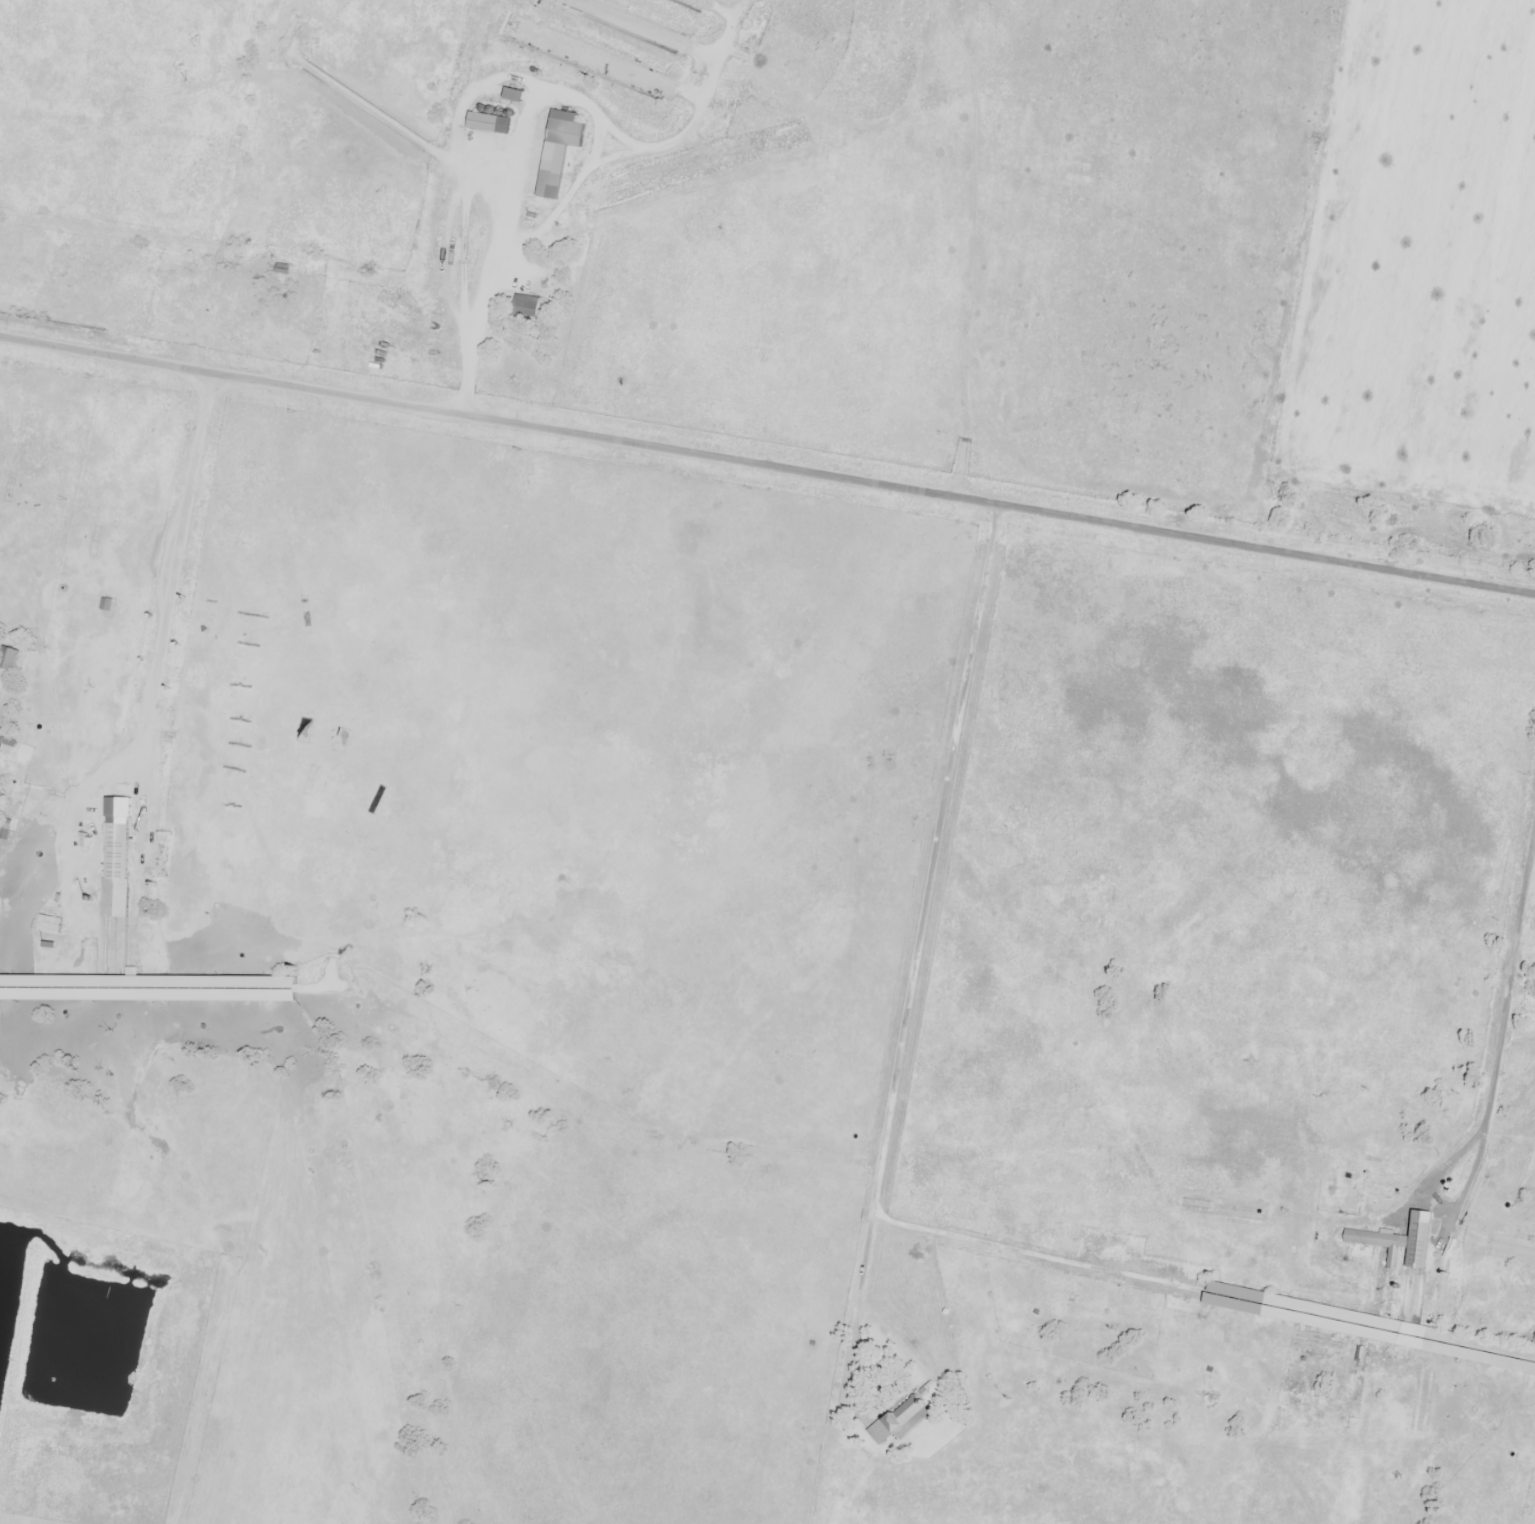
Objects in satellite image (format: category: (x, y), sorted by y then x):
building: (519, 93)
building: (490, 122)
building: (564, 149)
building: (281, 268)
building: (528, 306)
road: (767, 466)
building: (108, 604)
building: (10, 658)
road: (157, 663)
building: (119, 866)
building: (53, 924)
road: (916, 942)
building: (151, 989)
road: (1497, 1040)
building: (1508, 1251)
building: (1397, 1253)
building: (1365, 1328)
building: (895, 1420)

